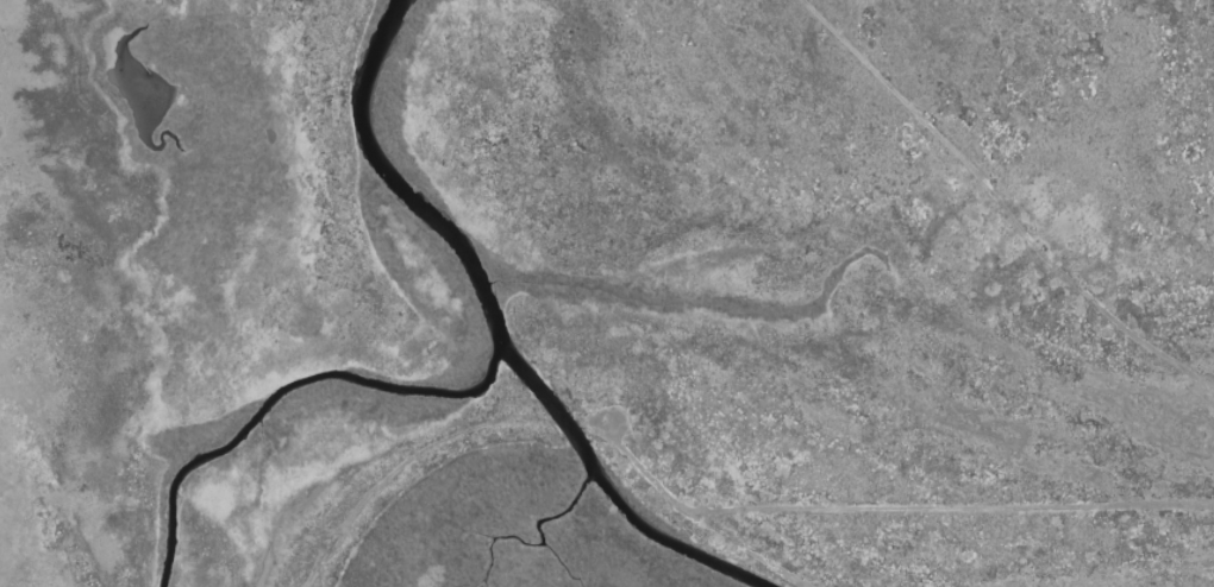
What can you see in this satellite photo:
road: (999, 207)
road: (888, 512)

